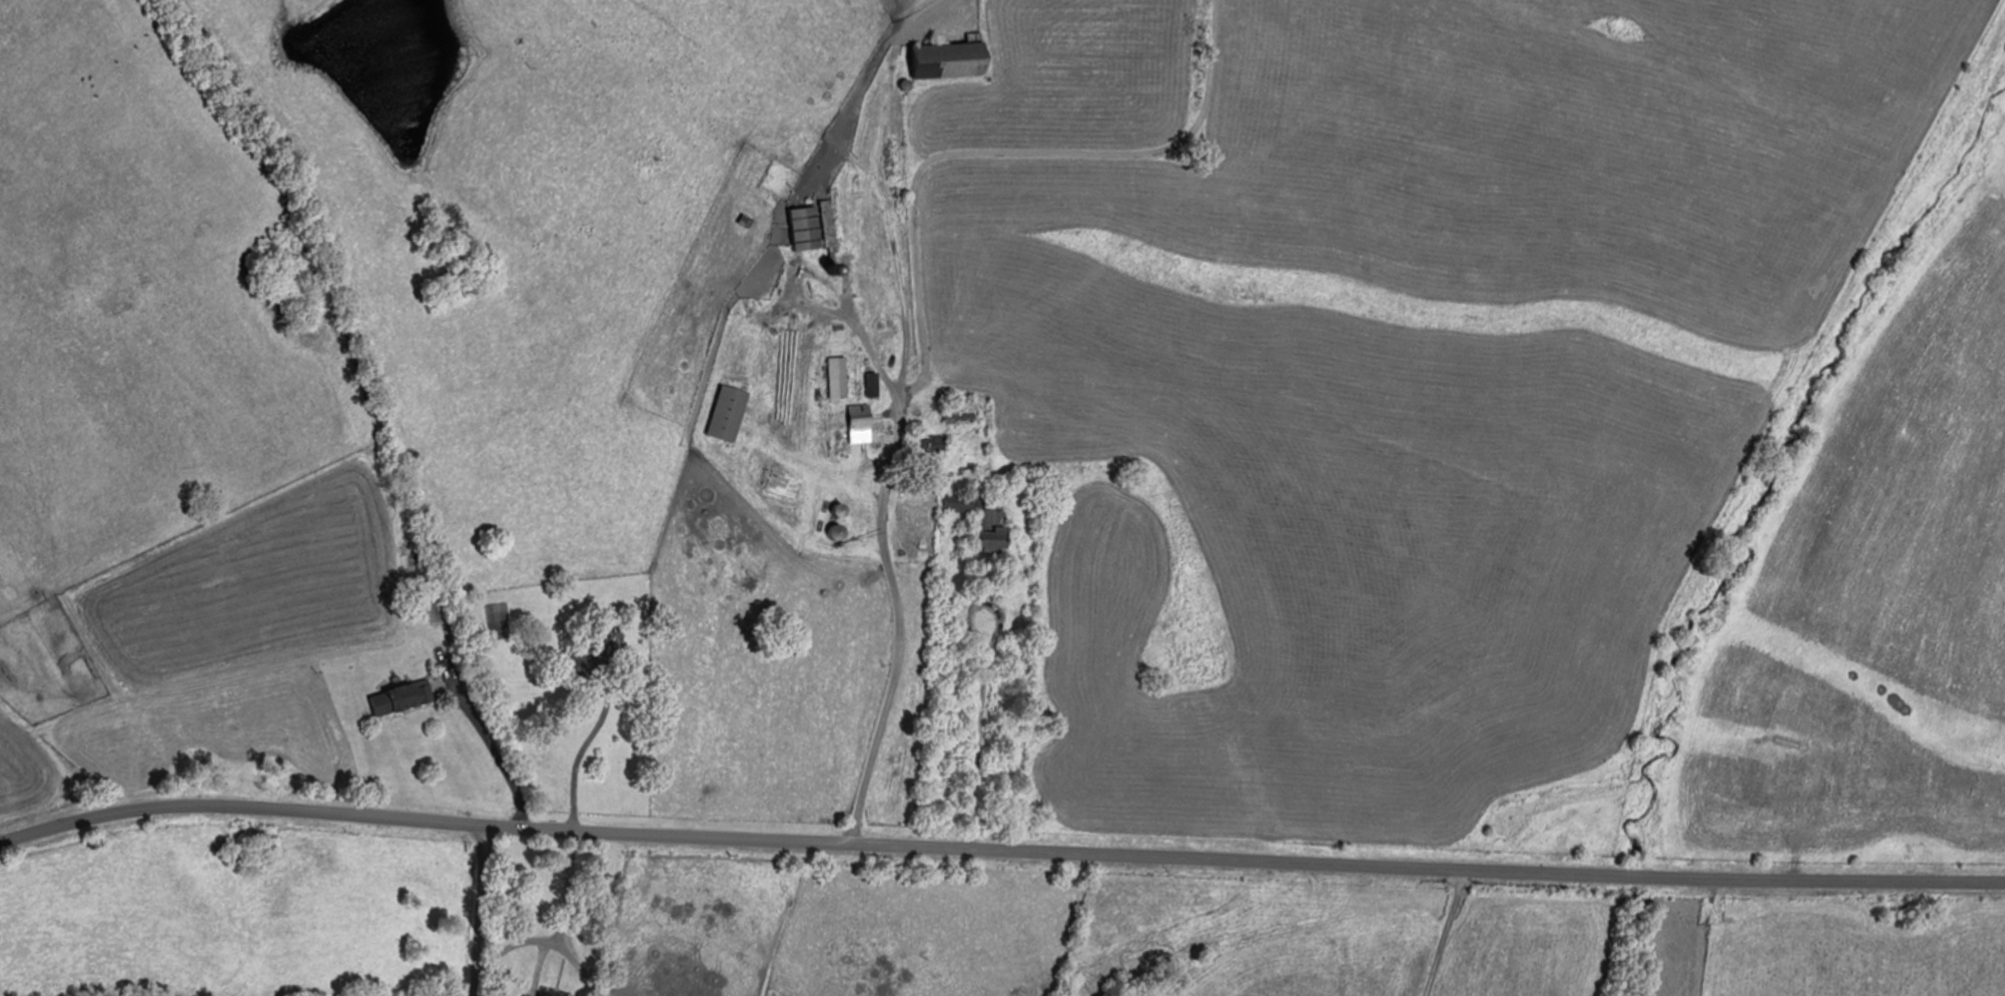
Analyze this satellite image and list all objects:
building: (952, 59)
building: (814, 227)
building: (840, 378)
building: (930, 384)
building: (730, 413)
building: (863, 417)
building: (959, 418)
building: (939, 444)
building: (985, 521)
road: (969, 622)
building: (404, 698)
road: (1030, 736)
road: (584, 741)
road: (999, 849)
road: (507, 911)
road: (610, 923)
road: (1798, 938)
building: (553, 994)

